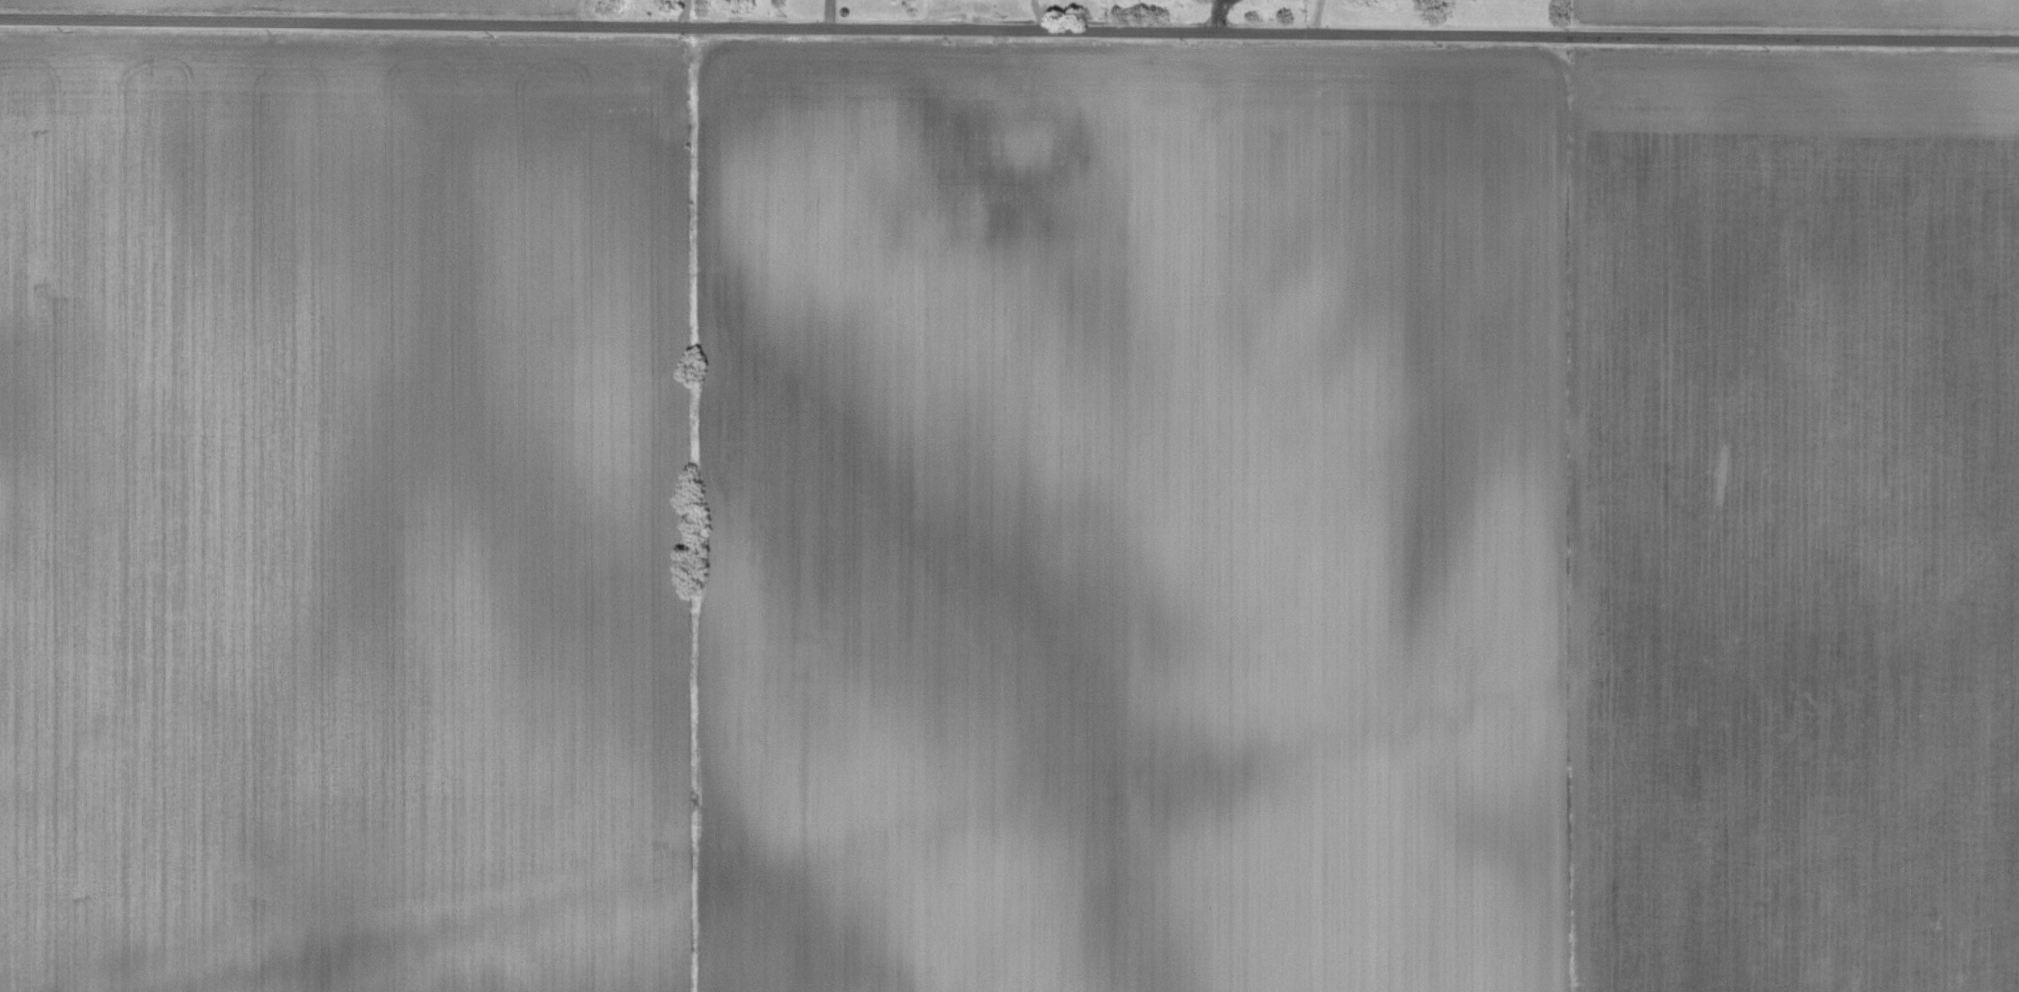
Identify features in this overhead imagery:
road: (1317, 16)
road: (1009, 29)

